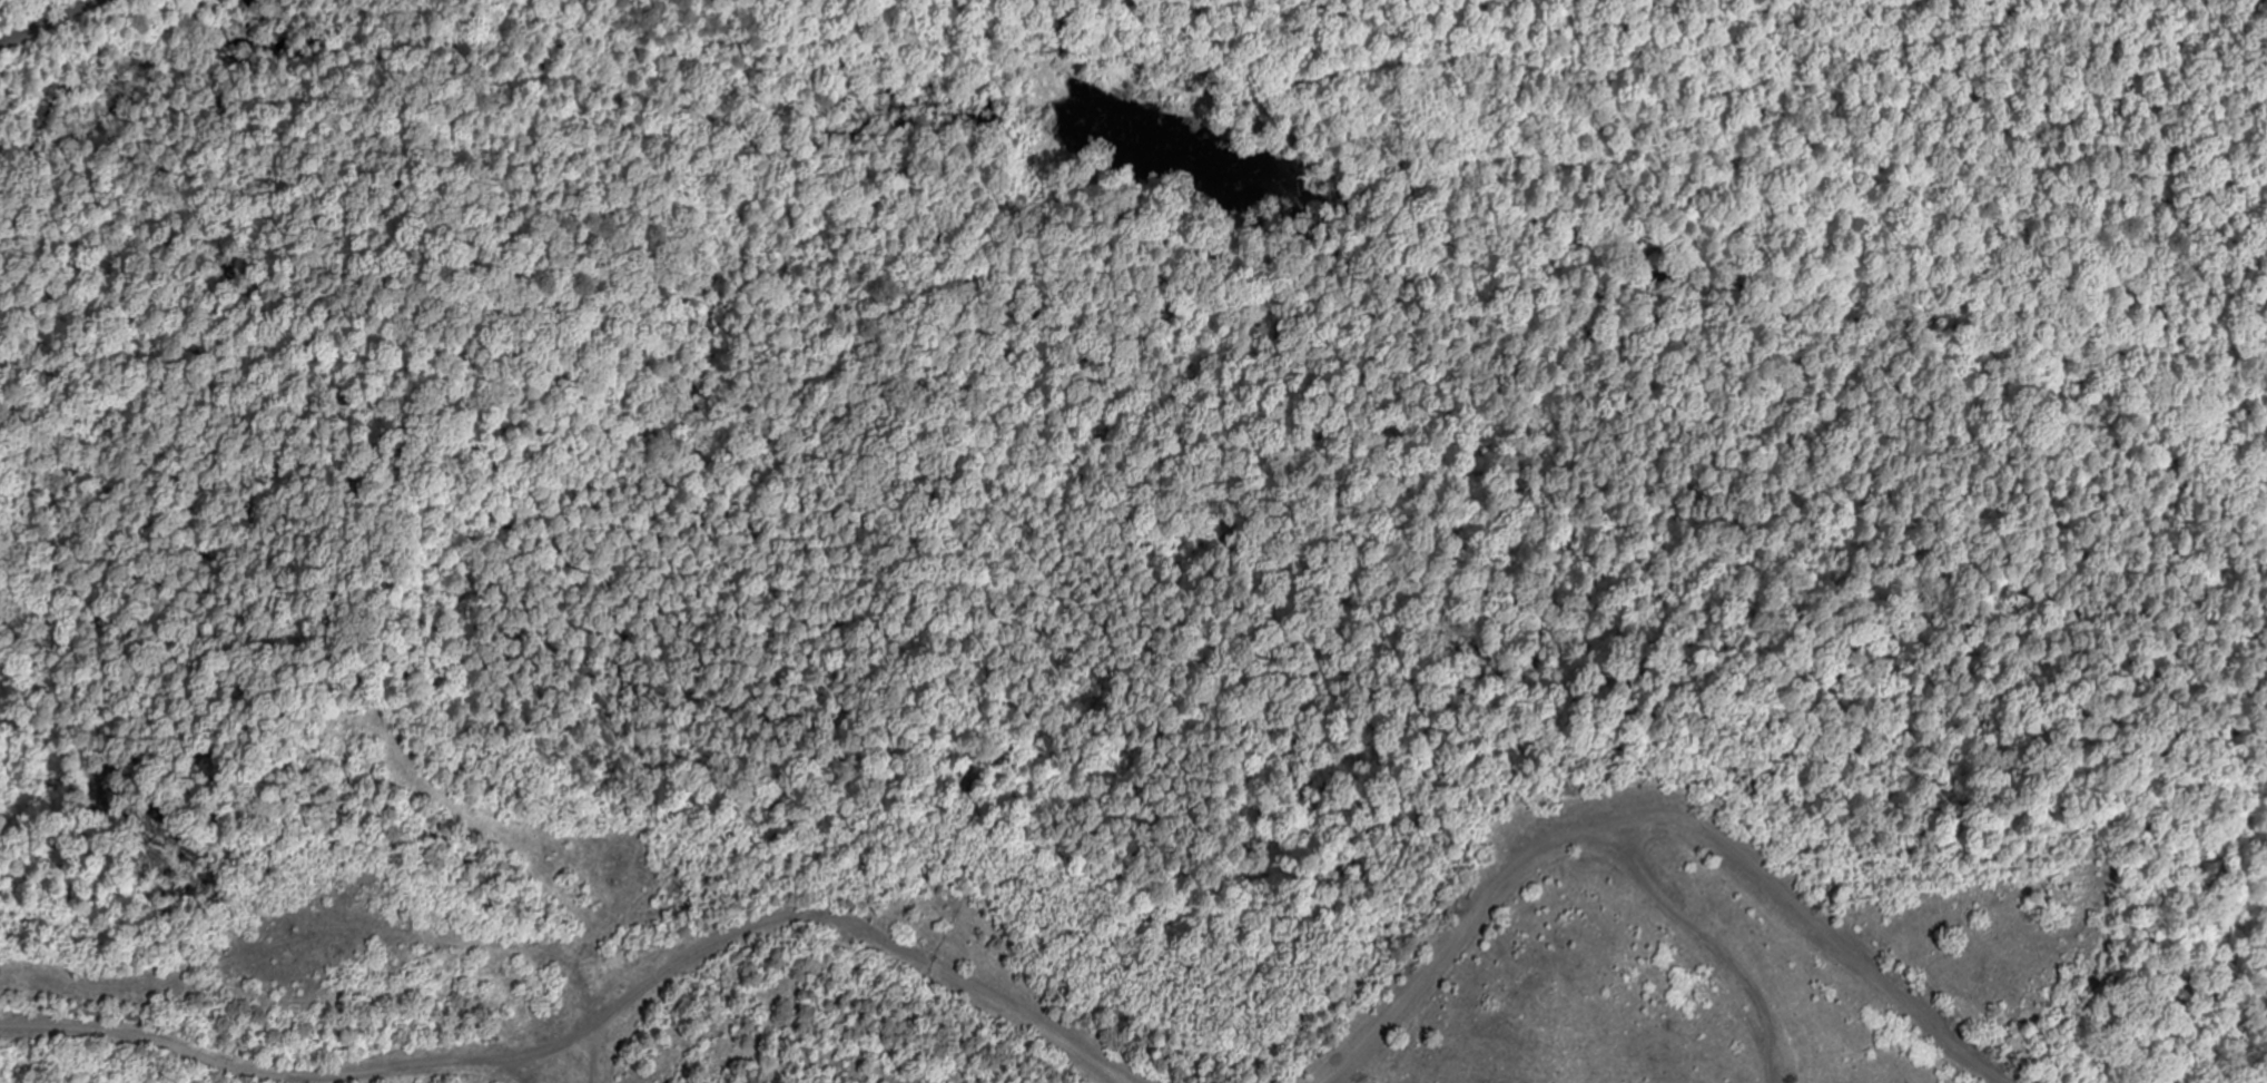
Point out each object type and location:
road: (57, 24)

